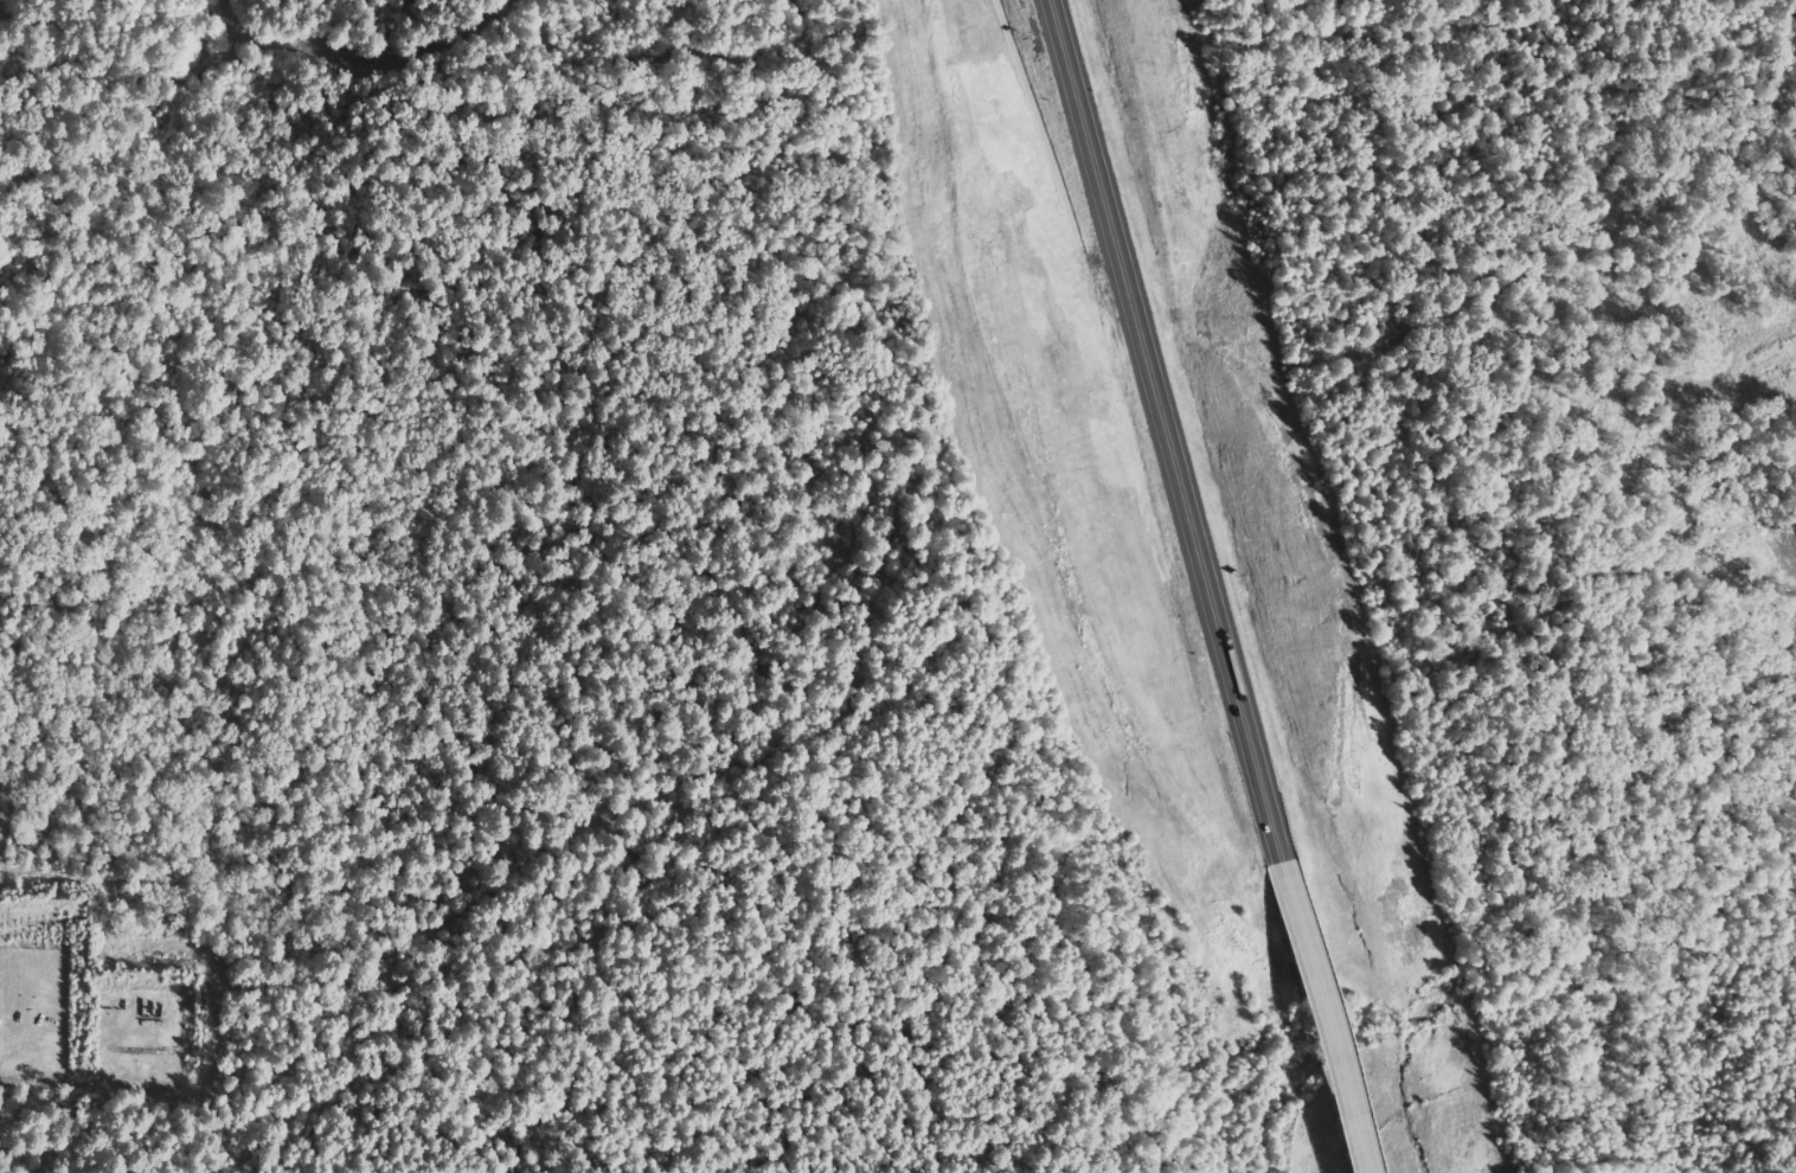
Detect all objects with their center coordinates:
road: (1169, 434)
road: (1327, 1020)

